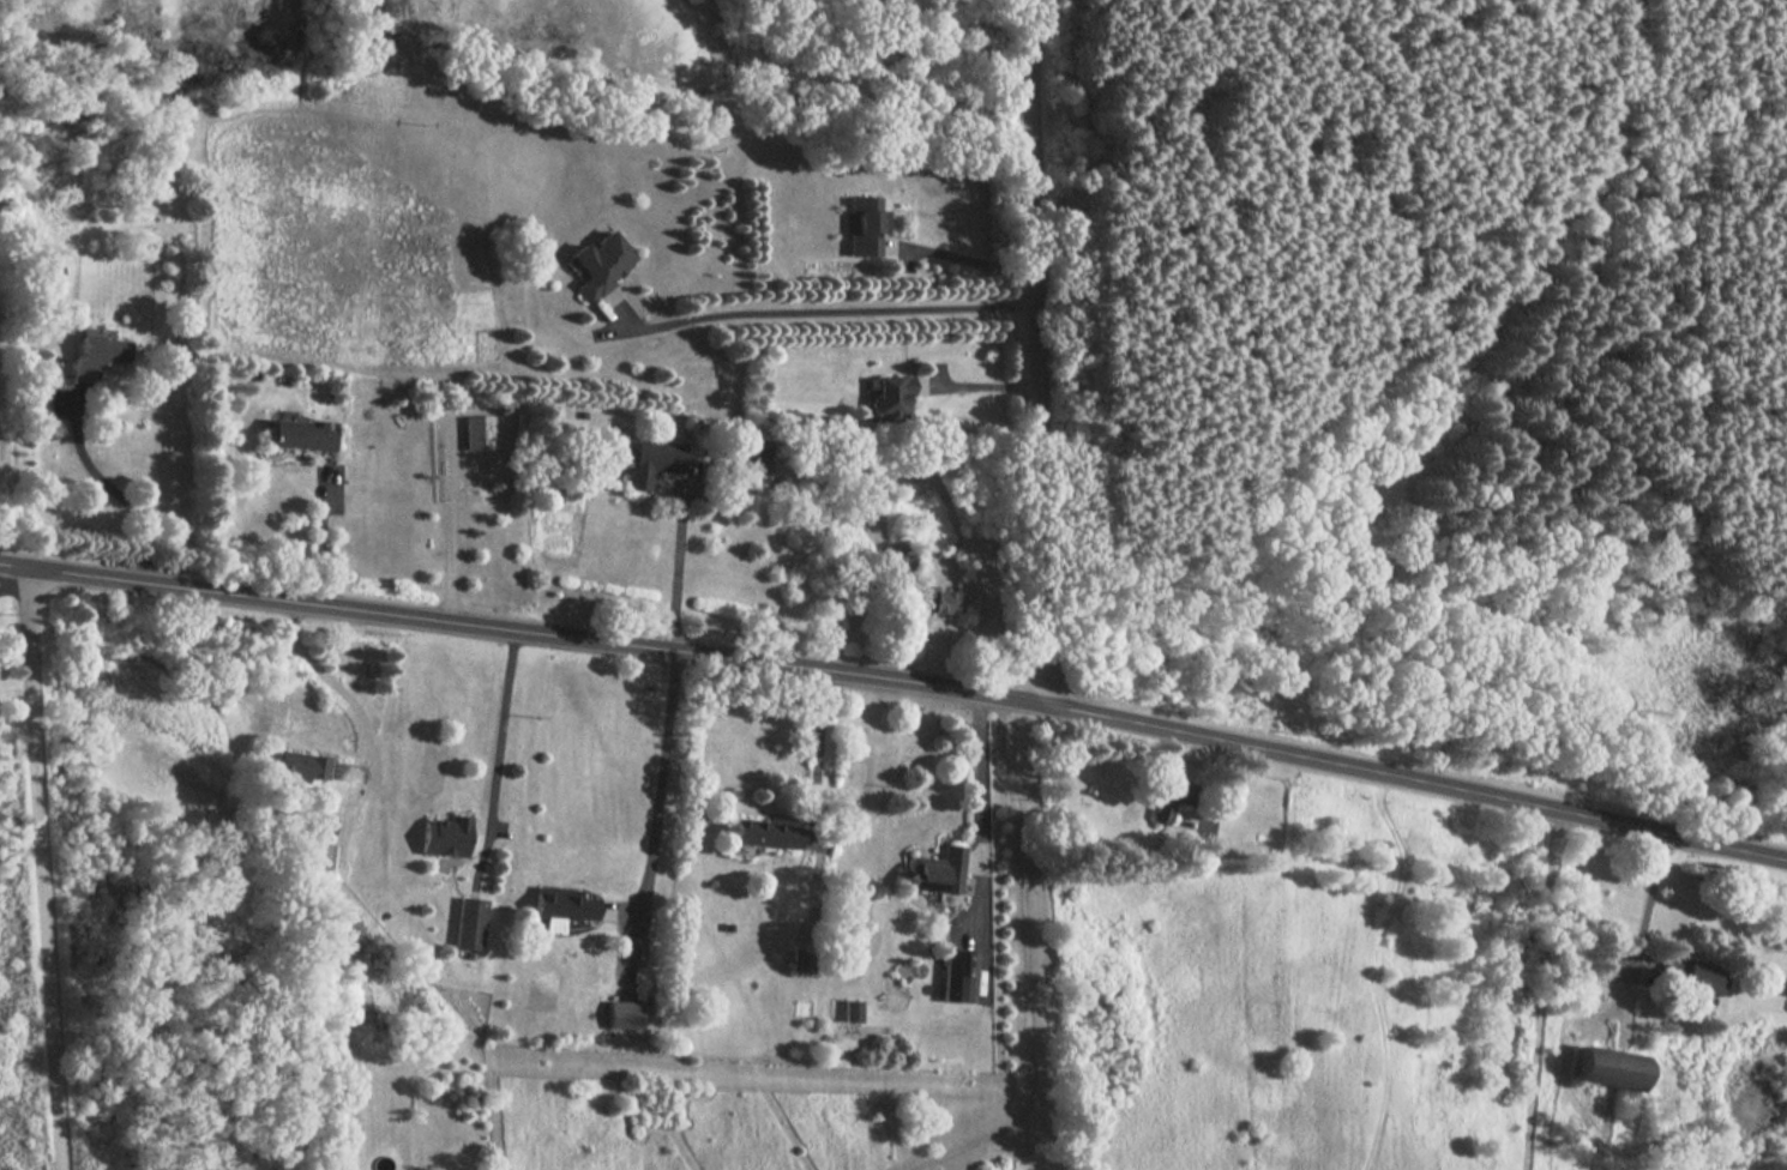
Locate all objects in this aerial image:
building: (861, 227)
building: (597, 264)
road: (974, 265)
road: (820, 313)
road: (1045, 352)
building: (96, 354)
road: (981, 387)
building: (888, 397)
building: (476, 433)
building: (299, 436)
building: (745, 459)
building: (649, 462)
road: (115, 491)
road: (321, 537)
building: (898, 560)
road: (676, 569)
road: (13, 579)
building: (937, 601)
road: (898, 682)
road: (337, 688)
road: (503, 726)
road: (820, 758)
building: (317, 771)
building: (1169, 803)
road: (980, 804)
road: (660, 807)
building: (759, 834)
building: (441, 837)
road: (44, 868)
building: (933, 872)
road: (1653, 895)
building: (561, 907)
building: (467, 924)
road: (1024, 967)
building: (956, 977)
building: (1684, 977)
road: (1540, 989)
building: (849, 1012)
building: (621, 1018)
building: (1605, 1063)

